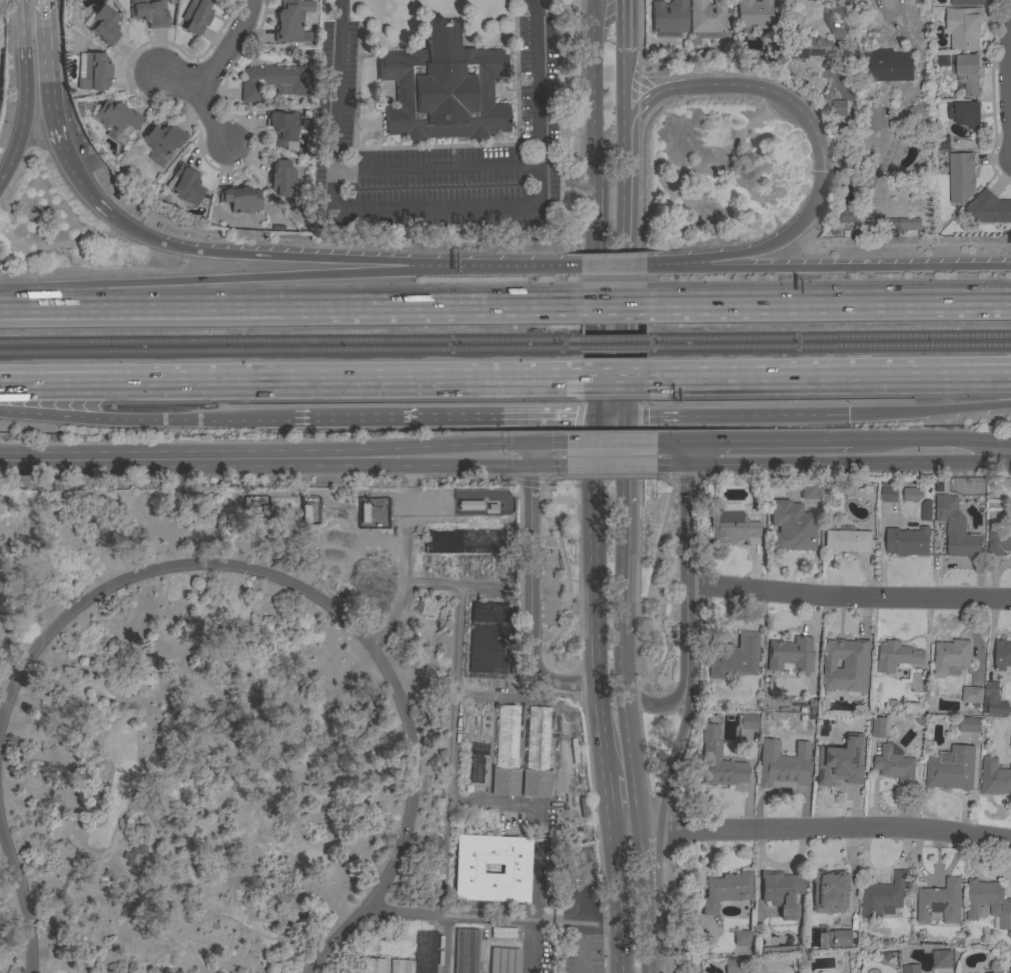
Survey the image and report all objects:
building: (967, 2)
building: (149, 12)
building: (753, 15)
building: (195, 16)
building: (669, 16)
building: (290, 21)
building: (708, 22)
building: (104, 25)
road: (625, 27)
building: (963, 27)
building: (807, 48)
road: (22, 52)
building: (888, 66)
road: (215, 67)
building: (93, 71)
building: (966, 72)
road: (46, 77)
building: (274, 81)
road: (591, 83)
road: (625, 87)
road: (1009, 87)
building: (442, 88)
road: (774, 97)
road: (650, 98)
building: (839, 112)
building: (919, 113)
building: (967, 114)
building: (117, 119)
road: (211, 119)
building: (871, 120)
building: (282, 126)
building: (162, 141)
building: (941, 143)
road: (17, 145)
road: (436, 165)
building: (960, 176)
building: (282, 181)
building: (186, 184)
road: (624, 187)
road: (82, 188)
building: (239, 198)
road: (434, 206)
building: (989, 208)
building: (845, 212)
building: (314, 222)
building: (905, 227)
road: (754, 251)
road: (272, 258)
road: (612, 266)
road: (827, 266)
road: (512, 268)
road: (221, 284)
road: (594, 292)
road: (624, 305)
road: (829, 305)
road: (616, 308)
road: (292, 312)
railway: (829, 337)
railway: (613, 339)
railway: (290, 341)
railway: (829, 347)
railway: (614, 349)
railway: (290, 351)
road: (831, 374)
road: (616, 375)
road: (290, 379)
road: (623, 387)
road: (930, 411)
road: (609, 418)
road: (736, 418)
road: (440, 419)
road: (142, 420)
road: (768, 442)
road: (922, 442)
road: (670, 443)
traffic signals: (686, 443)
traffic signals: (529, 444)
road: (547, 444)
road: (610, 444)
road: (452, 446)
road: (1001, 452)
road: (188, 459)
road: (610, 460)
road: (823, 460)
road: (470, 461)
road: (529, 475)
building: (806, 493)
building: (888, 494)
building: (911, 496)
building: (469, 503)
building: (492, 505)
building: (263, 511)
building: (363, 511)
building: (305, 512)
building: (924, 512)
building: (789, 525)
road: (622, 527)
building: (731, 527)
building: (956, 528)
building: (464, 541)
building: (847, 541)
building: (906, 541)
building: (998, 541)
road: (686, 566)
road: (591, 593)
road: (848, 598)
road: (335, 609)
road: (530, 623)
building: (488, 637)
building: (790, 655)
building: (845, 655)
building: (1002, 655)
building: (896, 656)
building: (733, 657)
building: (951, 657)
road: (454, 688)
road: (186, 689)
building: (971, 696)
building: (993, 701)
road: (651, 705)
building: (748, 721)
building: (878, 725)
building: (969, 725)
road: (625, 728)
park: (283, 739)
building: (1010, 741)
building: (506, 753)
building: (536, 753)
road: (674, 760)
building: (718, 761)
building: (840, 763)
building: (894, 764)
building: (782, 765)
building: (951, 769)
building: (994, 778)
road: (609, 800)
road: (144, 817)
road: (636, 827)
road: (823, 829)
road: (624, 833)
building: (128, 853)
building: (134, 854)
building: (514, 868)
road: (638, 874)
road: (615, 878)
building: (830, 887)
building: (725, 890)
building: (781, 891)
building: (883, 895)
road: (24, 899)
building: (940, 902)
building: (987, 903)
road: (583, 910)
parking lot: (581, 913)
road: (225, 914)
road: (475, 917)
road: (599, 922)
building: (503, 931)
building: (813, 933)
building: (742, 938)
building: (833, 940)
road: (445, 944)
road: (641, 944)
road: (618, 948)
building: (779, 948)
building: (466, 950)
building: (940, 959)
building: (505, 960)
road: (325, 965)
building: (373, 965)
building: (735, 965)
building: (402, 966)
building: (1009, 967)
building: (910, 968)

